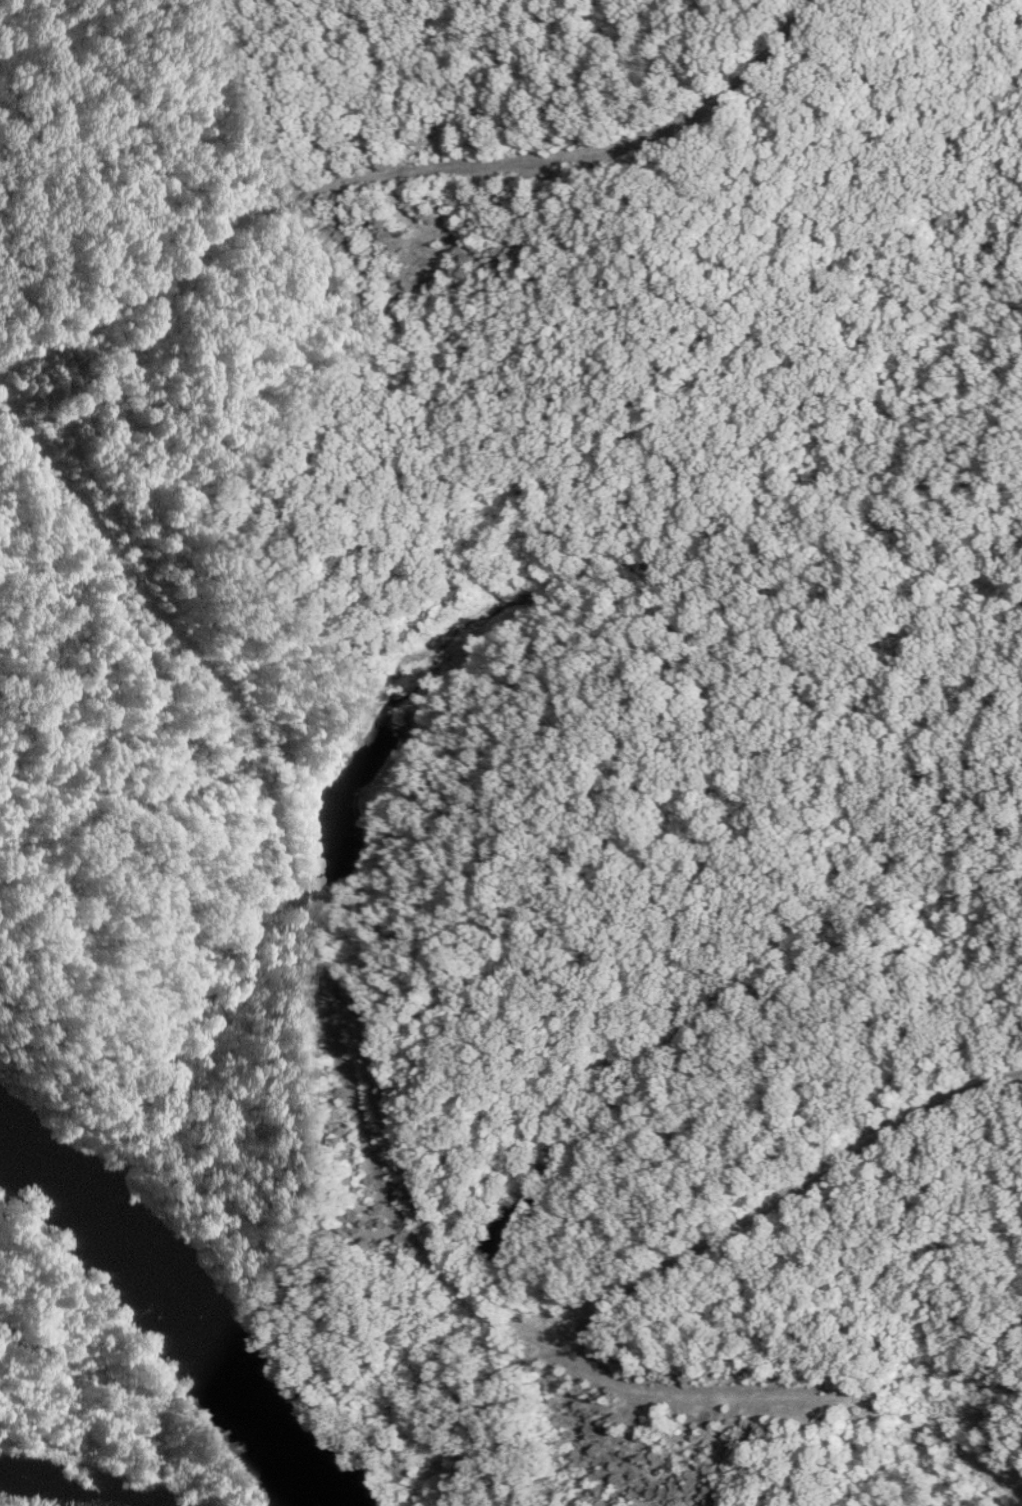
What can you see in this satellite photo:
road: (203, 242)
river: (179, 1291)
road: (981, 1461)

